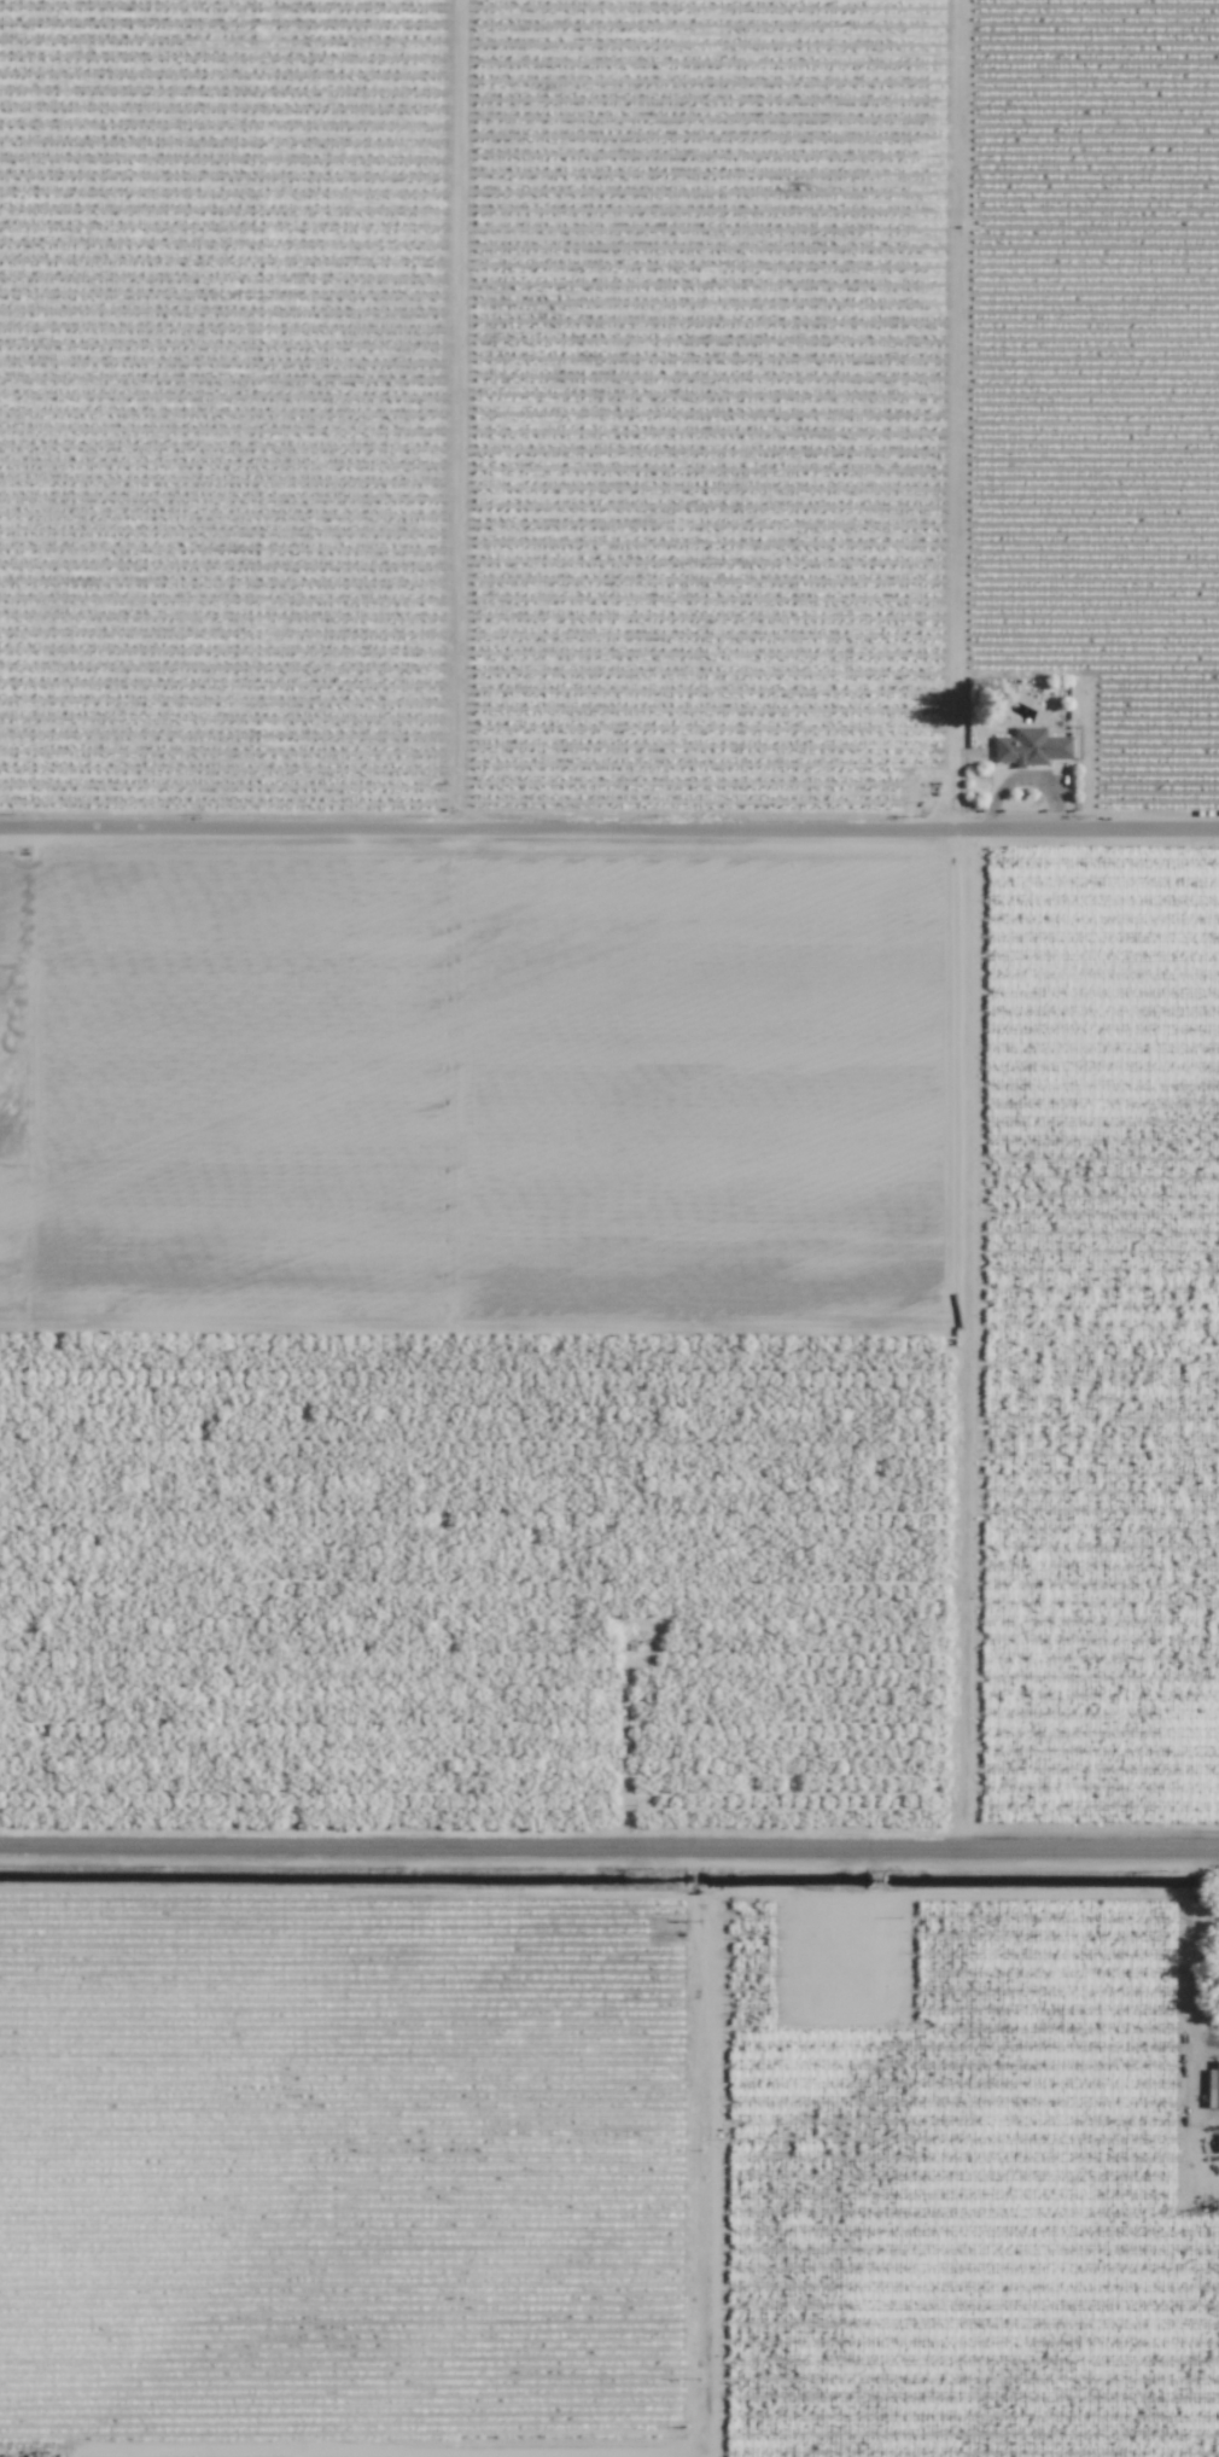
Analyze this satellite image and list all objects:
building: (1030, 747)
road: (609, 831)
road: (609, 1863)
building: (1213, 2086)
building: (1218, 2143)
building: (5, 2456)

